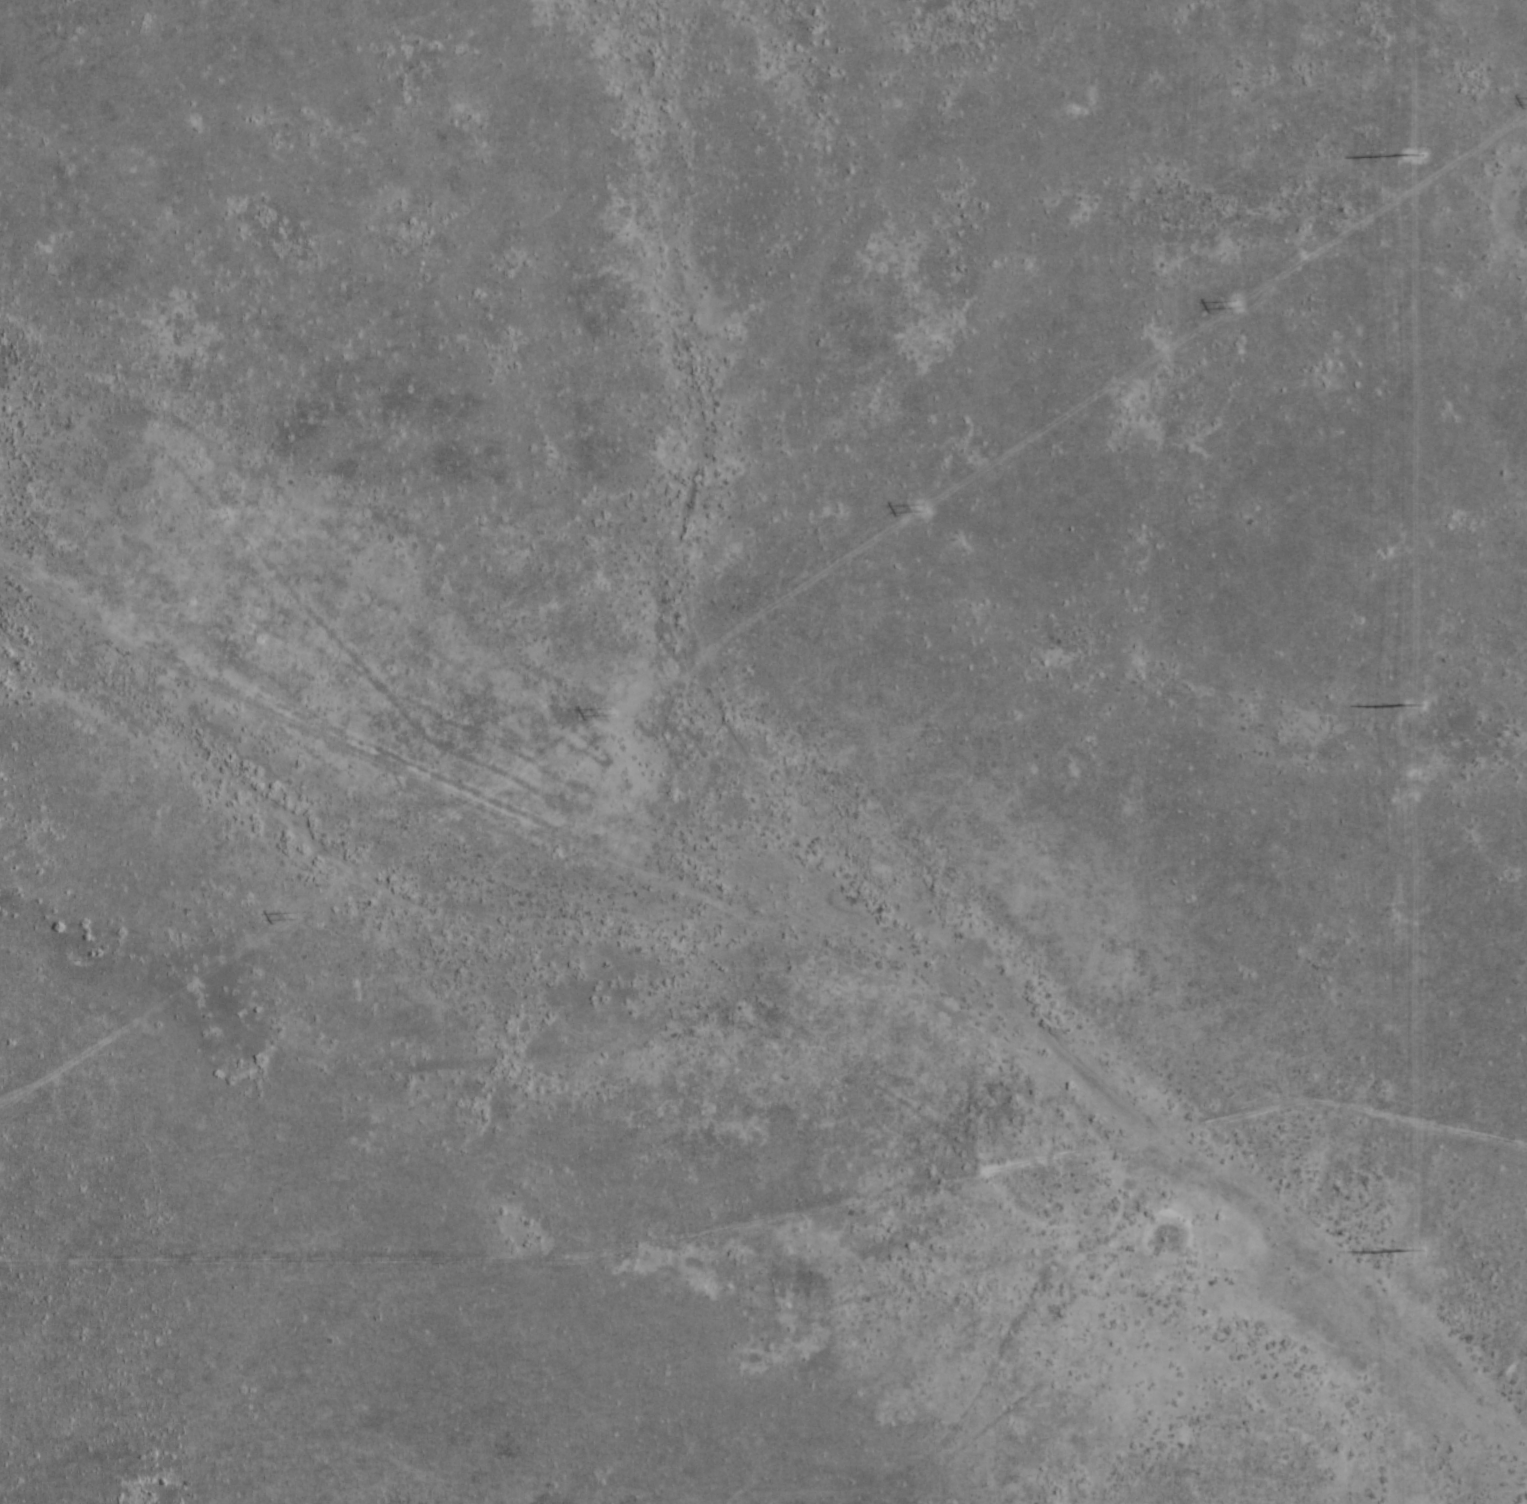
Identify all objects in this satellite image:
power tower: (1416, 156)
power tower: (1237, 305)
power tower: (924, 508)
power tower: (1414, 705)
power tower: (612, 711)
power tower: (297, 915)
power tower: (1412, 1249)

